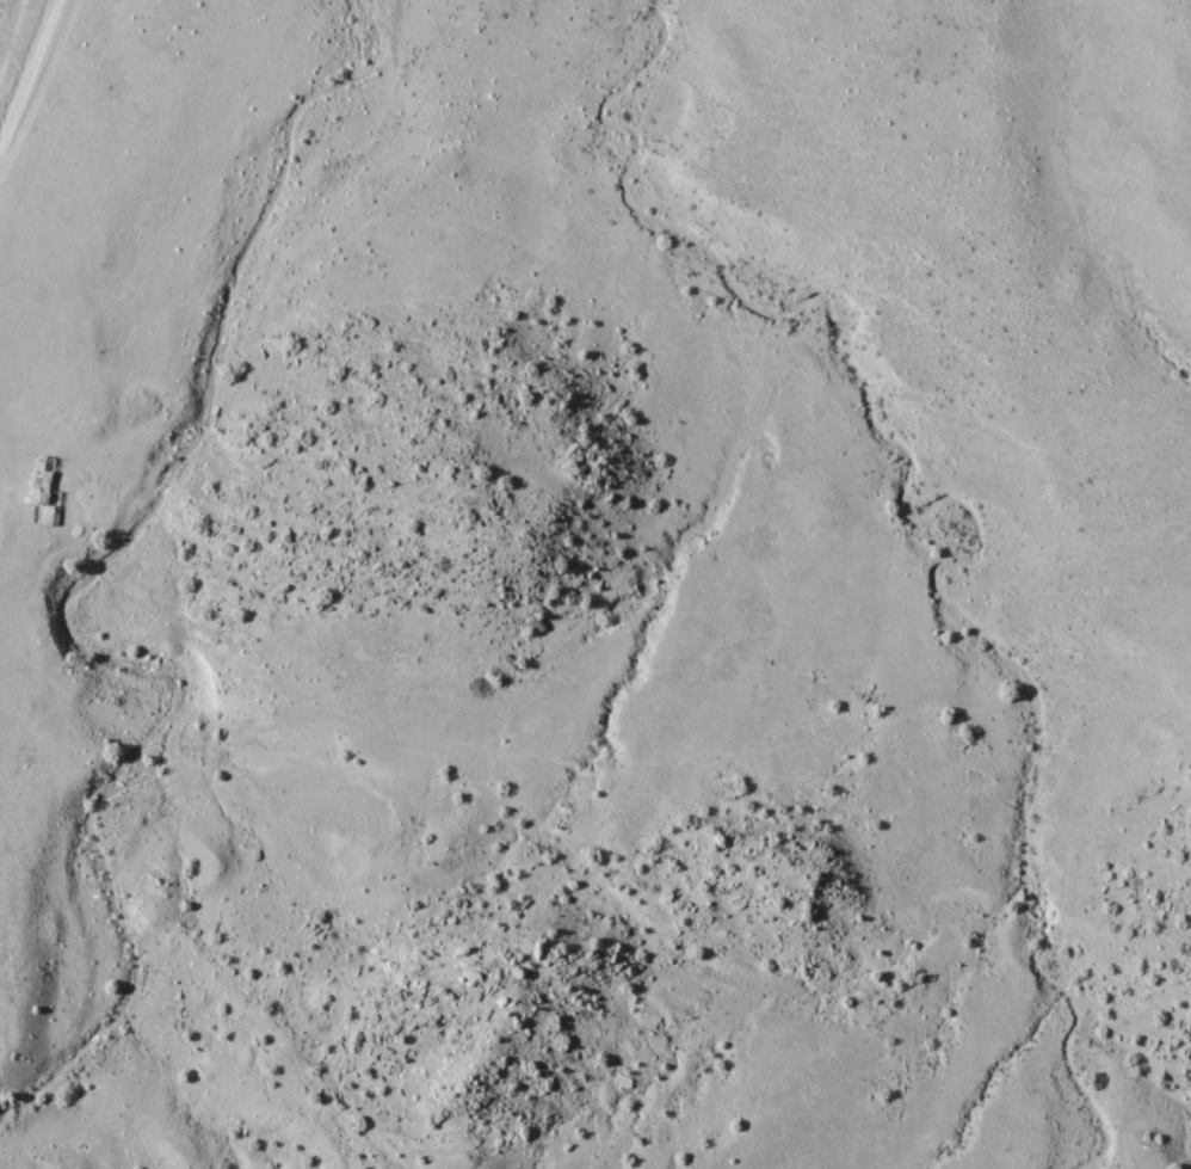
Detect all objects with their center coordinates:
road: (26, 67)
building: (44, 492)

